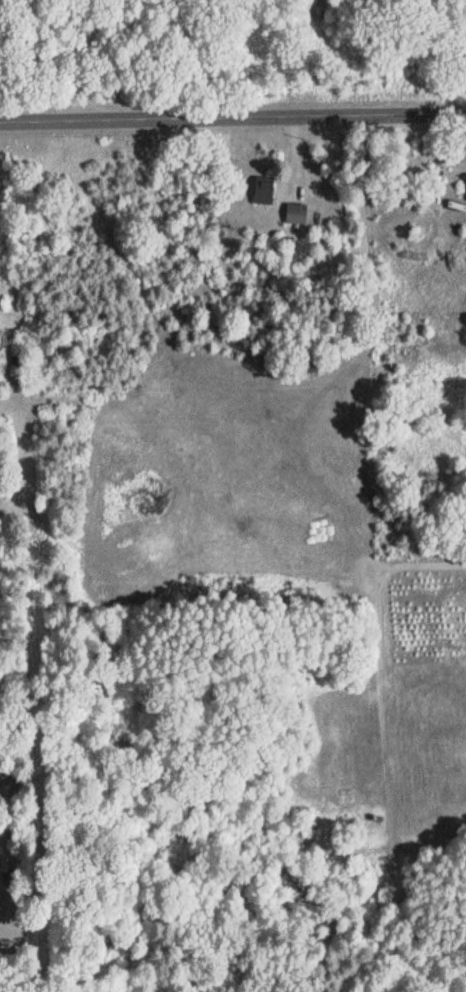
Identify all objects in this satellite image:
road: (233, 123)
building: (265, 191)
building: (298, 212)

